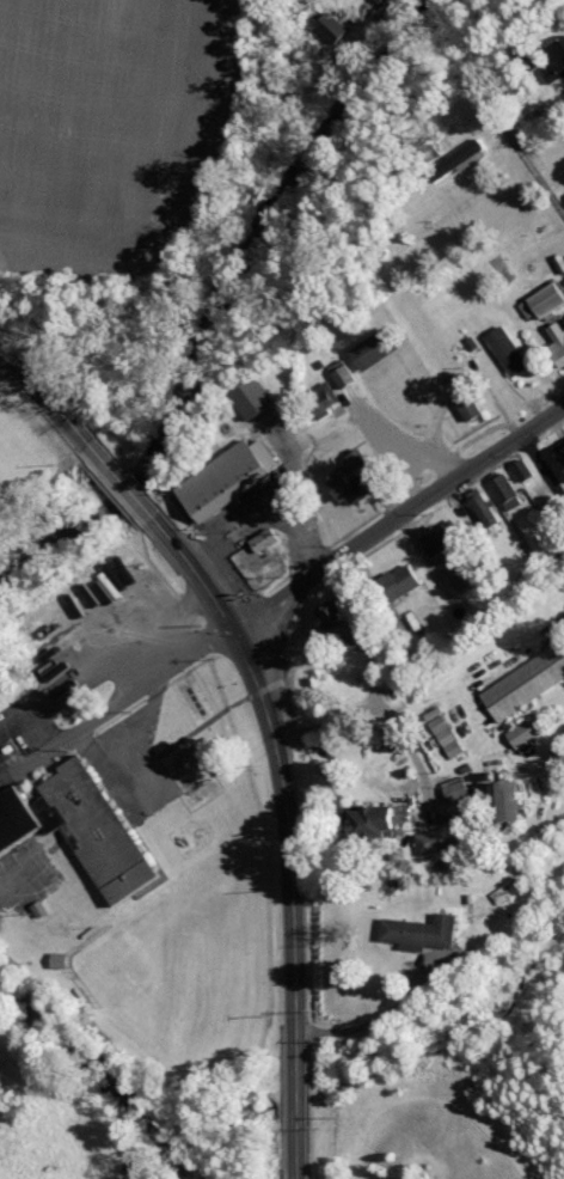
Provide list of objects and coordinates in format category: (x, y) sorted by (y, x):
building: (330, 28)
building: (528, 54)
building: (554, 60)
building: (520, 91)
road: (314, 112)
building: (450, 149)
building: (456, 161)
road: (527, 161)
building: (545, 297)
river: (222, 310)
building: (557, 335)
building: (372, 344)
building: (507, 347)
building: (341, 373)
building: (251, 392)
building: (320, 392)
road: (50, 395)
road: (498, 401)
building: (468, 403)
road: (437, 414)
road: (375, 436)
building: (559, 454)
parking lot: (411, 456)
road: (540, 463)
building: (521, 469)
building: (352, 471)
building: (220, 475)
road: (123, 479)
building: (504, 491)
building: (482, 507)
road: (397, 526)
building: (262, 539)
building: (397, 579)
road: (292, 585)
building: (341, 617)
road: (275, 643)
parking lot: (94, 664)
building: (525, 683)
road: (262, 684)
building: (434, 713)
road: (200, 721)
building: (523, 732)
road: (290, 737)
building: (446, 737)
road: (413, 746)
parking lot: (129, 763)
building: (501, 798)
building: (380, 819)
building: (76, 825)
road: (290, 827)
building: (441, 837)
park: (185, 888)
building: (499, 891)
building: (427, 927)
road: (368, 1018)
river: (102, 1079)

